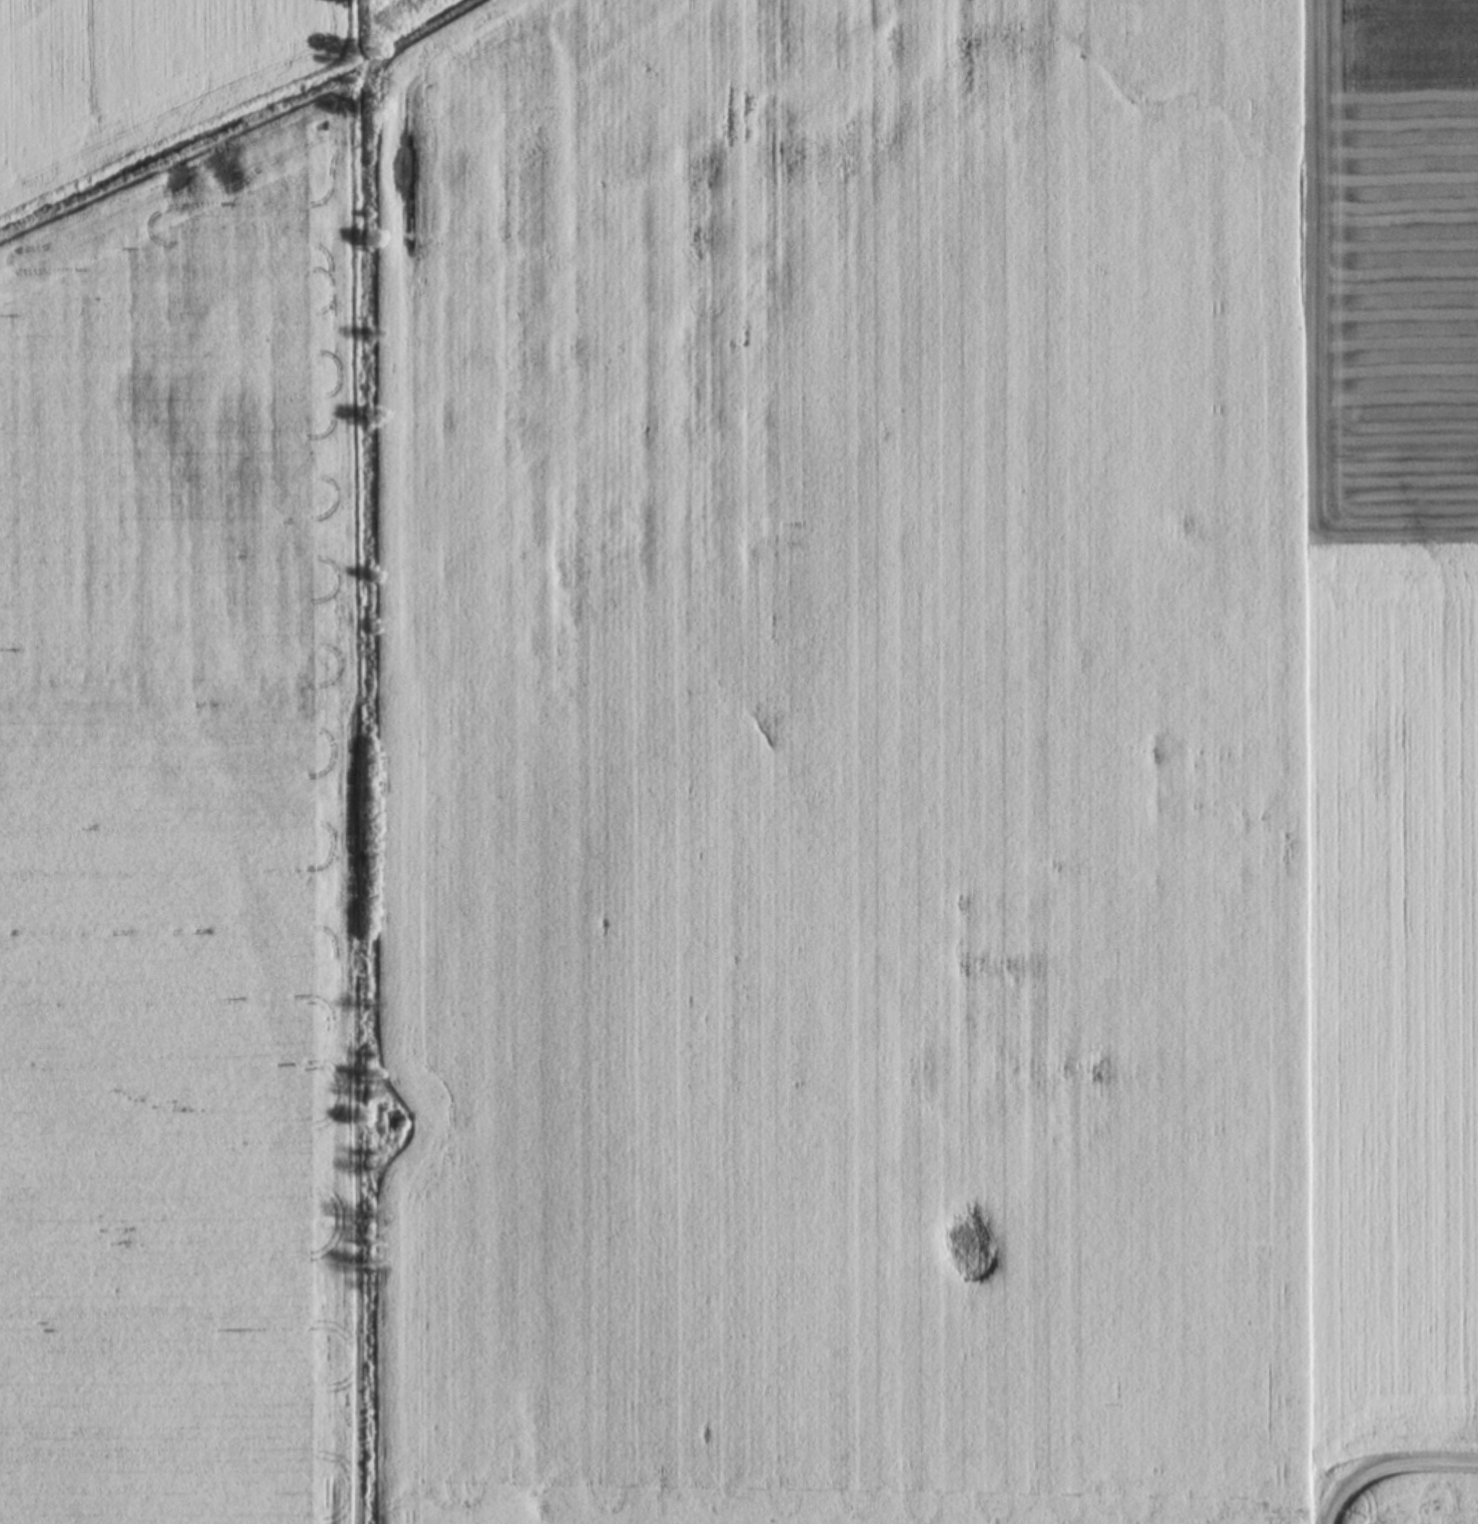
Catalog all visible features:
road: (1391, 1480)

